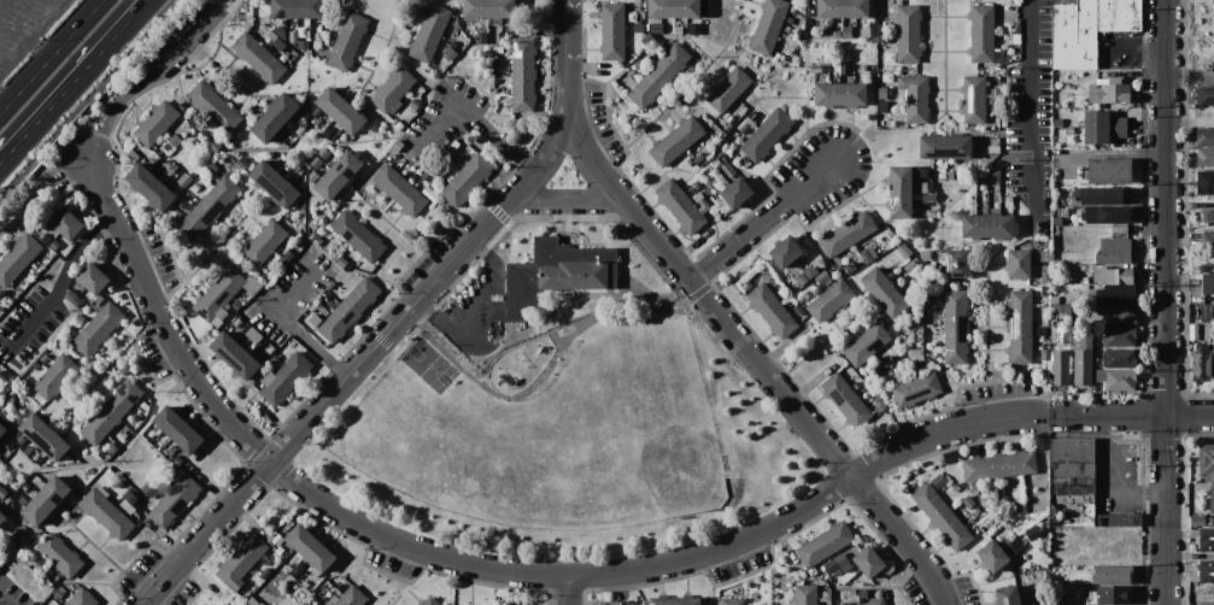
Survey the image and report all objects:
building: (646, 6)
building: (297, 8)
building: (488, 8)
building: (674, 8)
building: (708, 8)
building: (791, 8)
building: (839, 8)
building: (1119, 16)
building: (456, 24)
building: (768, 25)
building: (324, 27)
building: (645, 28)
building: (879, 28)
building: (694, 29)
building: (785, 29)
building: (678, 30)
building: (1016, 30)
building: (253, 31)
building: (612, 31)
building: (846, 31)
building: (429, 33)
building: (479, 33)
building: (864, 33)
building: (908, 33)
building: (837, 34)
building: (981, 34)
building: (272, 35)
building: (1074, 35)
building: (293, 36)
building: (300, 36)
building: (882, 39)
building: (1016, 39)
building: (647, 40)
building: (347, 41)
building: (316, 43)
building: (278, 45)
road: (1132, 45)
building: (662, 46)
building: (448, 52)
building: (495, 54)
road: (51, 55)
building: (998, 55)
building: (258, 58)
building: (640, 64)
building: (814, 69)
building: (844, 69)
building: (522, 74)
building: (659, 76)
road: (142, 80)
building: (1114, 80)
road: (74, 82)
building: (392, 89)
building: (727, 89)
building: (882, 93)
building: (995, 93)
building: (1109, 93)
building: (839, 94)
building: (1084, 94)
building: (1204, 95)
building: (914, 98)
building: (973, 100)
road: (89, 101)
building: (987, 102)
road: (1030, 102)
building: (415, 104)
building: (995, 104)
building: (882, 106)
building: (213, 107)
building: (735, 108)
building: (340, 110)
building: (995, 111)
building: (752, 116)
building: (275, 118)
building: (297, 118)
building: (313, 119)
road: (480, 119)
building: (706, 122)
building: (1058, 122)
building: (156, 123)
building: (745, 125)
building: (399, 127)
building: (1102, 127)
building: (327, 131)
building: (766, 135)
building: (1204, 137)
building: (175, 140)
building: (676, 141)
building: (245, 143)
building: (395, 145)
building: (213, 146)
building: (168, 147)
building: (329, 147)
building: (945, 147)
building: (993, 149)
building: (327, 153)
building: (133, 154)
road: (89, 157)
building: (1204, 157)
building: (699, 159)
building: (688, 161)
building: (242, 163)
building: (716, 163)
building: (211, 168)
building: (171, 169)
building: (727, 169)
building: (1110, 170)
building: (282, 171)
building: (922, 172)
building: (338, 175)
building: (428, 175)
building: (993, 177)
building: (467, 178)
building: (184, 181)
building: (749, 182)
building: (1204, 182)
building: (272, 183)
building: (313, 184)
building: (149, 187)
building: (983, 187)
building: (195, 188)
building: (399, 189)
building: (929, 189)
building: (692, 190)
building: (703, 192)
building: (899, 192)
building: (735, 193)
building: (429, 194)
building: (1102, 195)
building: (698, 196)
building: (931, 196)
road: (567, 199)
building: (1010, 199)
building: (301, 205)
building: (680, 206)
building: (180, 208)
building: (207, 208)
building: (932, 213)
building: (1083, 215)
building: (1092, 215)
building: (1116, 215)
building: (1208, 216)
road: (763, 219)
building: (1056, 221)
building: (313, 223)
building: (66, 224)
building: (987, 225)
building: (1120, 229)
building: (846, 233)
building: (358, 235)
building: (315, 239)
building: (46, 240)
building: (1208, 240)
building: (264, 242)
building: (54, 245)
building: (862, 246)
building: (904, 251)
building: (1115, 251)
building: (872, 252)
building: (784, 253)
building: (51, 254)
building: (866, 255)
building: (940, 255)
building: (1045, 255)
building: (18, 258)
building: (845, 258)
building: (278, 262)
building: (341, 262)
building: (956, 263)
building: (1019, 263)
building: (849, 266)
building: (1034, 269)
building: (809, 272)
building: (1045, 275)
building: (1113, 276)
building: (350, 277)
building: (822, 277)
road: (63, 278)
building: (550, 278)
building: (93, 280)
building: (800, 280)
building: (753, 281)
building: (773, 281)
building: (251, 284)
building: (330, 284)
building: (1208, 284)
building: (1045, 290)
building: (816, 292)
building: (882, 292)
building: (784, 293)
building: (1115, 293)
building: (218, 295)
building: (909, 295)
building: (72, 298)
building: (99, 300)
building: (829, 300)
building: (938, 302)
road: (1166, 302)
building: (1, 306)
building: (235, 306)
building: (311, 309)
building: (798, 309)
building: (348, 310)
building: (772, 311)
building: (1204, 311)
building: (1213, 311)
building: (321, 312)
building: (1120, 316)
building: (80, 318)
building: (315, 321)
road: (398, 321)
building: (236, 322)
road: (289, 324)
building: (955, 327)
building: (1020, 327)
building: (98, 329)
building: (1099, 329)
building: (253, 334)
building: (1048, 337)
building: (1119, 337)
building: (866, 343)
building: (1066, 346)
building: (915, 352)
building: (1045, 354)
building: (234, 356)
building: (45, 357)
building: (274, 358)
building: (1119, 358)
building: (887, 360)
road: (757, 362)
building: (1083, 362)
building: (1201, 363)
building: (36, 364)
building: (891, 364)
building: (878, 368)
building: (1060, 368)
building: (5, 376)
building: (54, 376)
building: (285, 378)
building: (1116, 378)
building: (856, 384)
building: (916, 389)
building: (10, 400)
building: (845, 400)
building: (880, 405)
building: (143, 407)
building: (111, 411)
park: (562, 412)
road: (1108, 415)
road: (1190, 415)
building: (139, 419)
building: (2, 429)
building: (177, 429)
building: (123, 435)
building: (45, 436)
building: (20, 440)
building: (111, 448)
building: (28, 450)
building: (171, 450)
building: (34, 453)
building: (176, 460)
building: (1206, 463)
building: (998, 465)
building: (90, 470)
building: (109, 472)
building: (938, 482)
building: (1072, 482)
building: (34, 483)
building: (0, 486)
building: (955, 487)
building: (28, 489)
building: (149, 491)
building: (2, 492)
building: (997, 493)
building: (130, 498)
building: (46, 500)
building: (174, 501)
building: (968, 501)
building: (1212, 503)
building: (127, 506)
building: (1022, 509)
building: (977, 511)
building: (1, 512)
building: (106, 513)
building: (942, 516)
building: (1196, 519)
building: (1213, 519)
building: (1118, 521)
building: (1001, 525)
building: (20, 530)
building: (1206, 539)
building: (825, 544)
building: (1062, 544)
building: (280, 551)
building: (310, 551)
building: (1104, 552)
building: (60, 553)
building: (992, 556)
building: (869, 560)
building: (240, 562)
building: (835, 563)
building: (557, 564)
building: (1026, 566)
building: (287, 568)
road: (487, 568)
building: (845, 568)
building: (297, 569)
building: (835, 570)
building: (251, 571)
building: (1206, 571)
building: (54, 574)
building: (264, 574)
building: (1112, 574)
building: (48, 578)
building: (304, 583)
building: (63, 588)
road: (570, 592)
building: (851, 592)
building: (58, 593)
building: (804, 594)
building: (862, 594)
building: (1008, 594)
building: (1092, 595)
building: (1114, 595)
building: (826, 597)
building: (82, 598)
building: (348, 598)
building: (1039, 598)
building: (675, 600)
building: (252, 601)
building: (429, 601)
building: (631, 601)
building: (732, 601)
building: (874, 603)
building: (225, 604)
building: (306, 604)
building: (843, 604)

